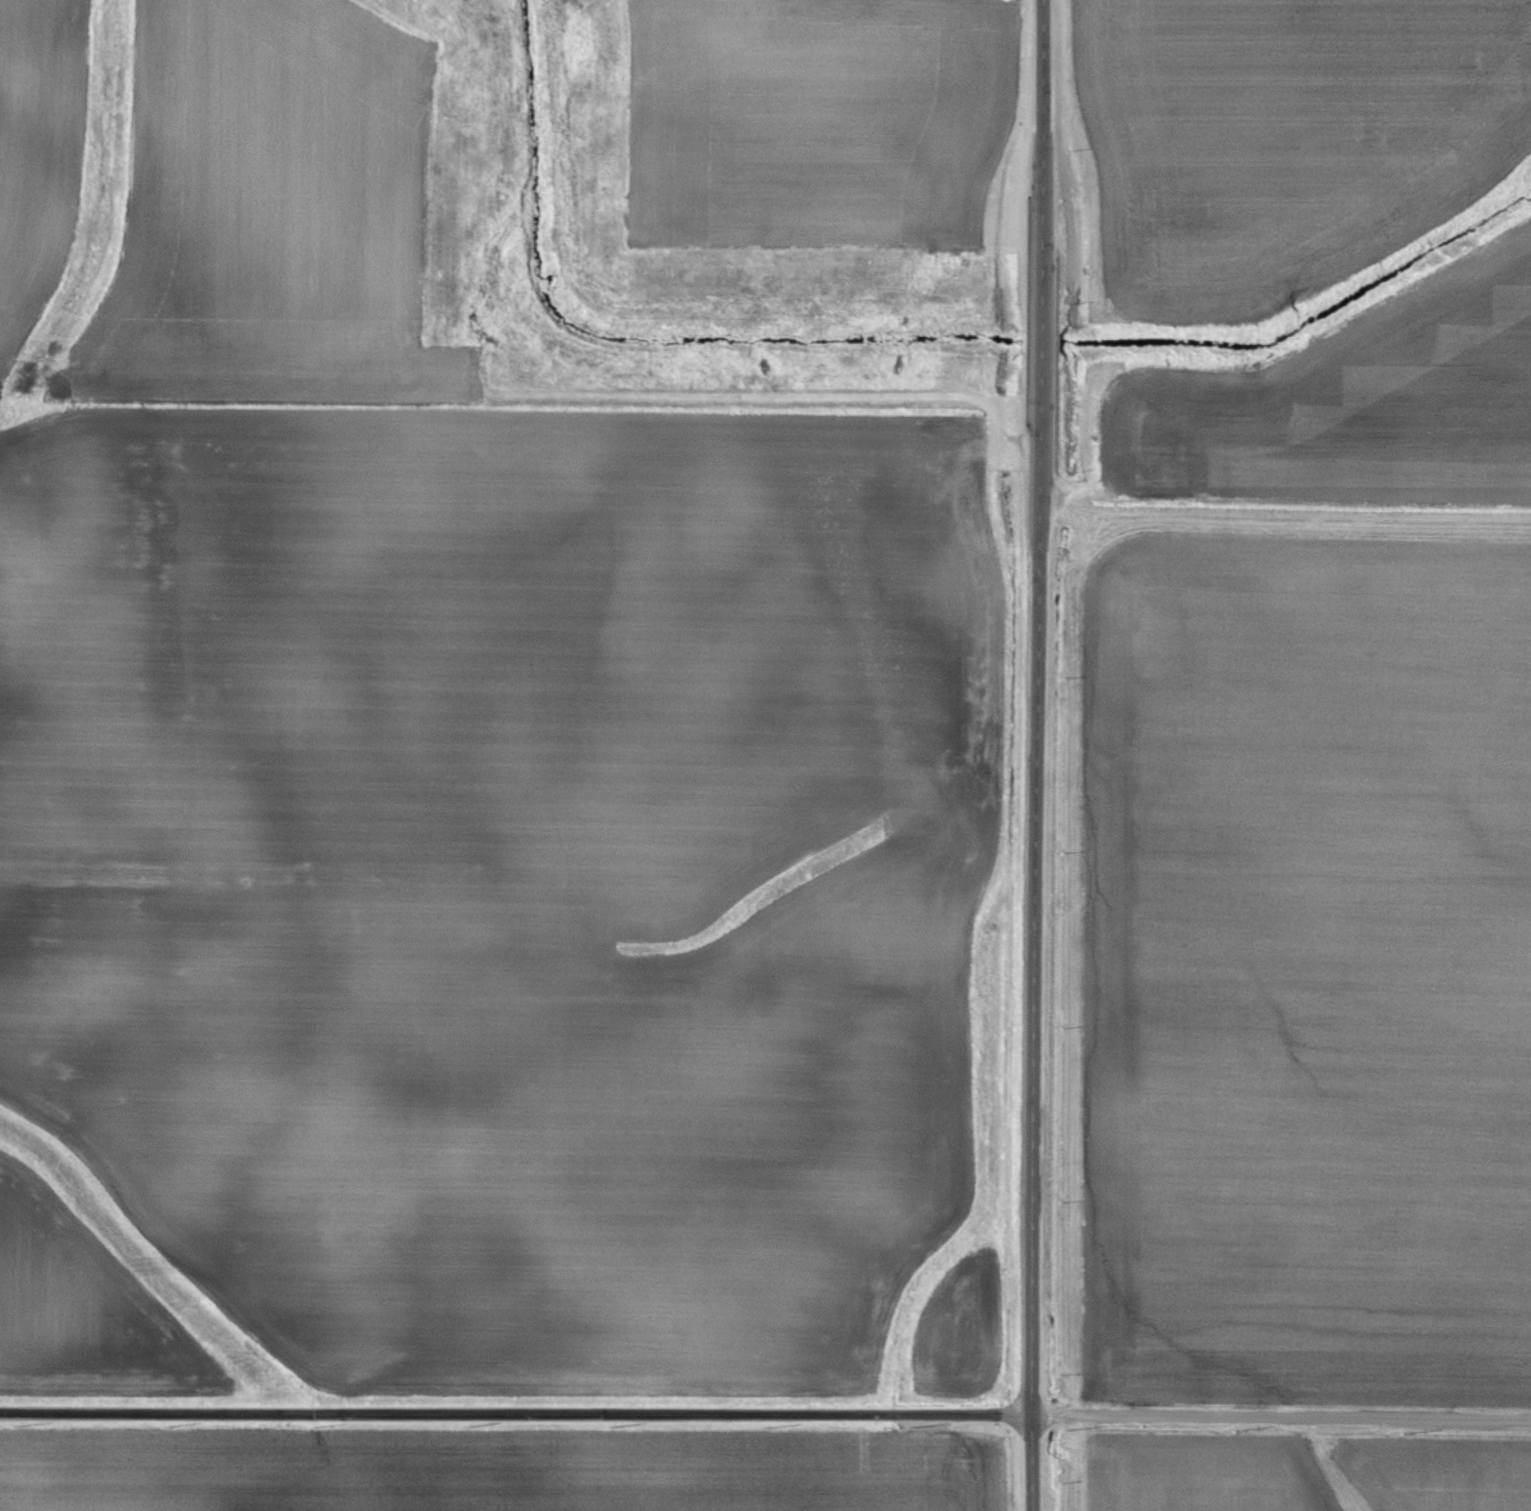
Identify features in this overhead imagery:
road: (1036, 755)
road: (515, 1412)
road: (1280, 1418)

